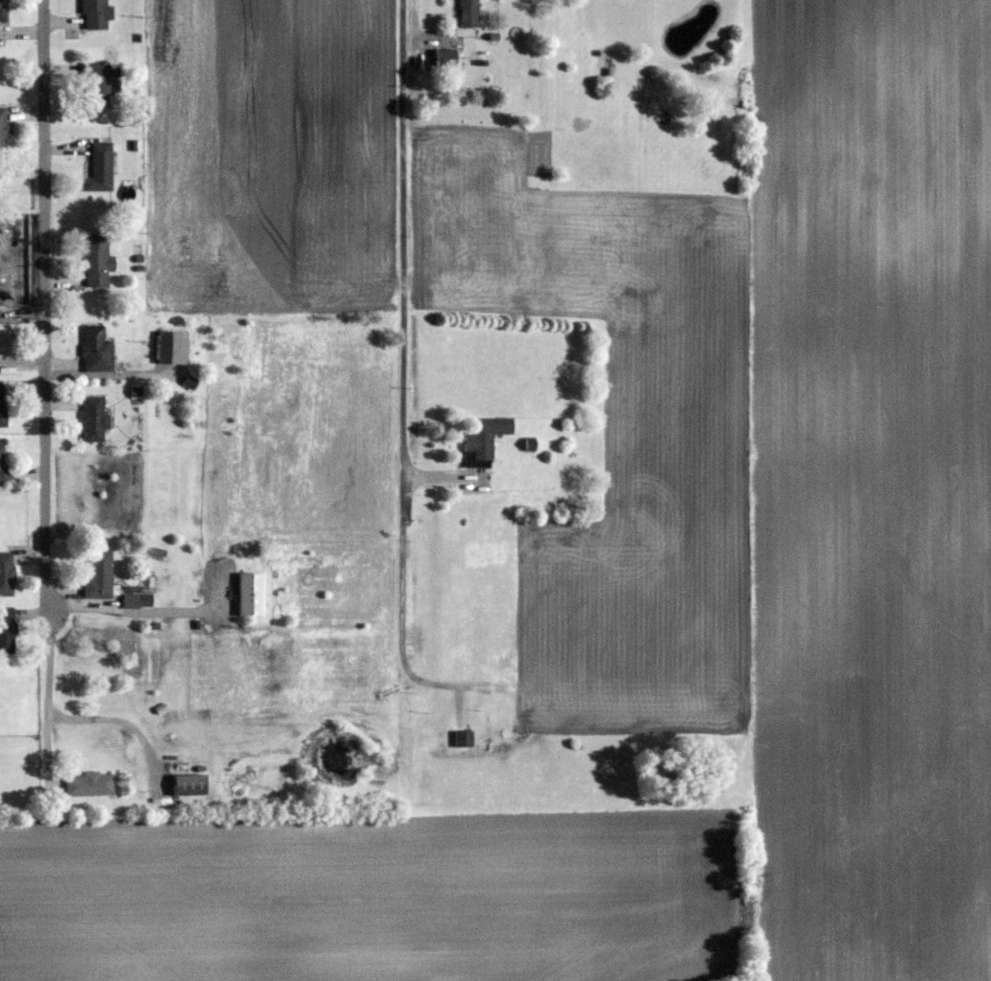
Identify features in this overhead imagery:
building: (3, 10)
road: (415, 13)
building: (469, 13)
building: (96, 14)
building: (445, 56)
building: (98, 84)
building: (4, 130)
building: (100, 169)
road: (402, 240)
building: (98, 263)
road: (46, 309)
building: (172, 348)
building: (96, 350)
building: (2, 405)
building: (94, 419)
building: (485, 435)
building: (3, 467)
building: (6, 572)
building: (97, 574)
building: (136, 600)
building: (6, 628)
road: (45, 700)
road: (120, 722)
building: (463, 738)
building: (89, 784)
building: (188, 785)

